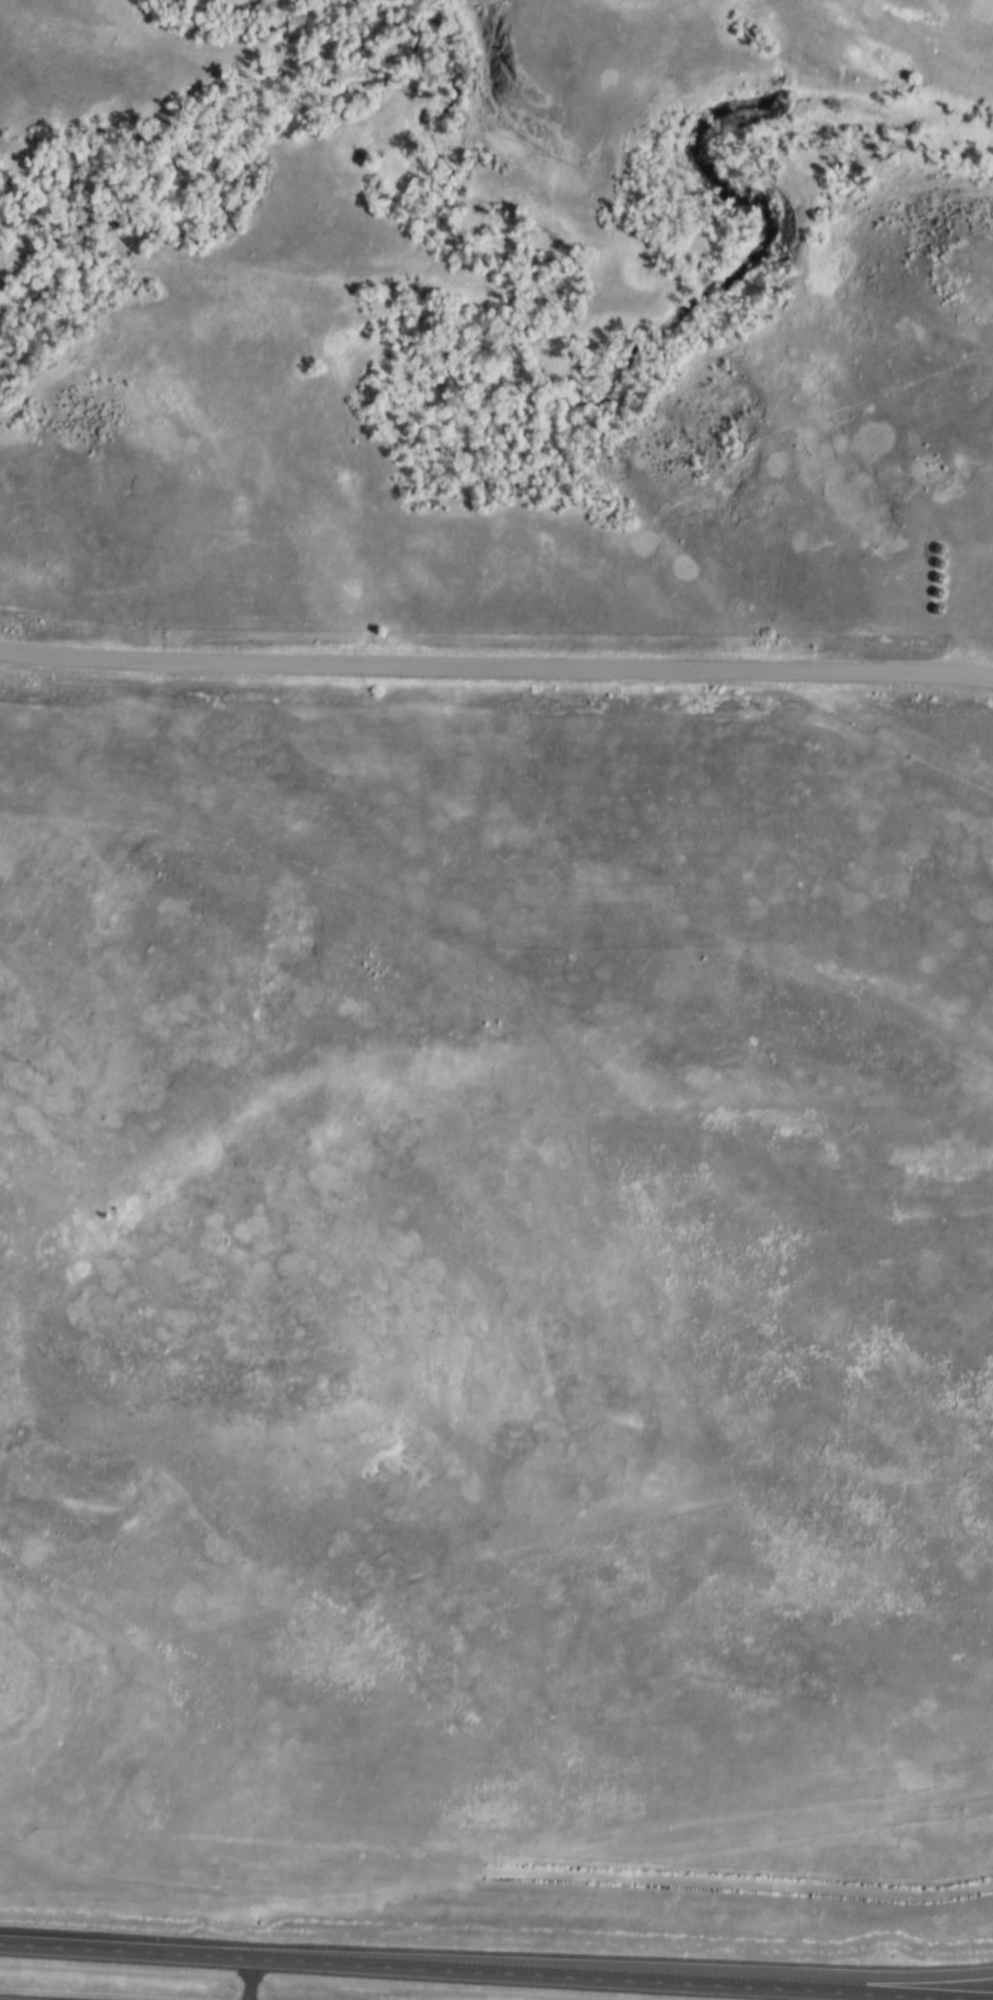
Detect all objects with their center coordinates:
road: (496, 672)
road: (432, 1971)
road: (821, 1983)

